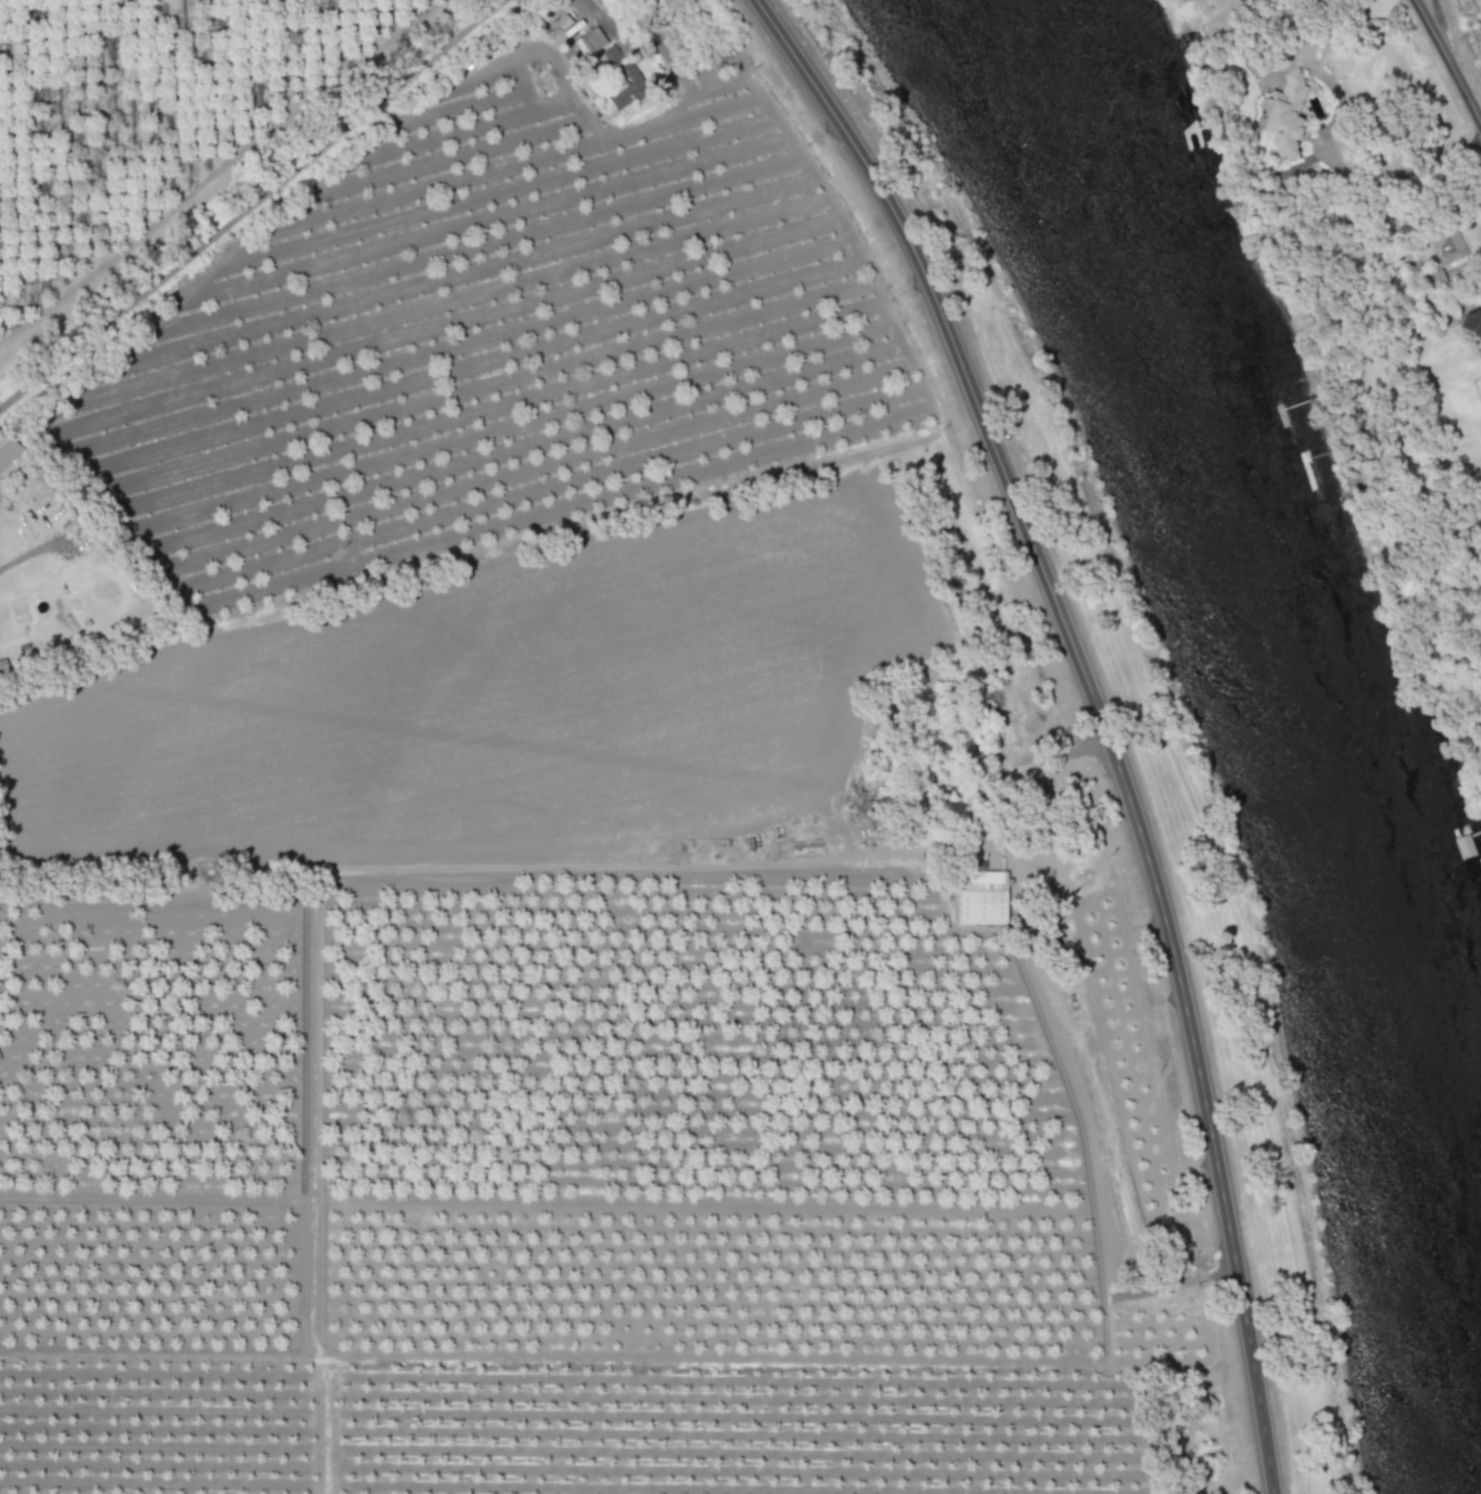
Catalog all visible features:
road: (589, 5)
road: (1435, 19)
building: (589, 41)
road: (1449, 59)
building: (623, 77)
building: (1285, 114)
road: (1328, 145)
road: (251, 204)
building: (1448, 246)
building: (1434, 278)
crop: (420, 288)
building: (1472, 324)
building: (7, 449)
road: (20, 564)
river: (1305, 667)
crop: (503, 692)
road: (1097, 716)
road: (1022, 775)
building: (1464, 846)
building: (982, 897)
crop: (520, 1033)
crop: (560, 1424)

